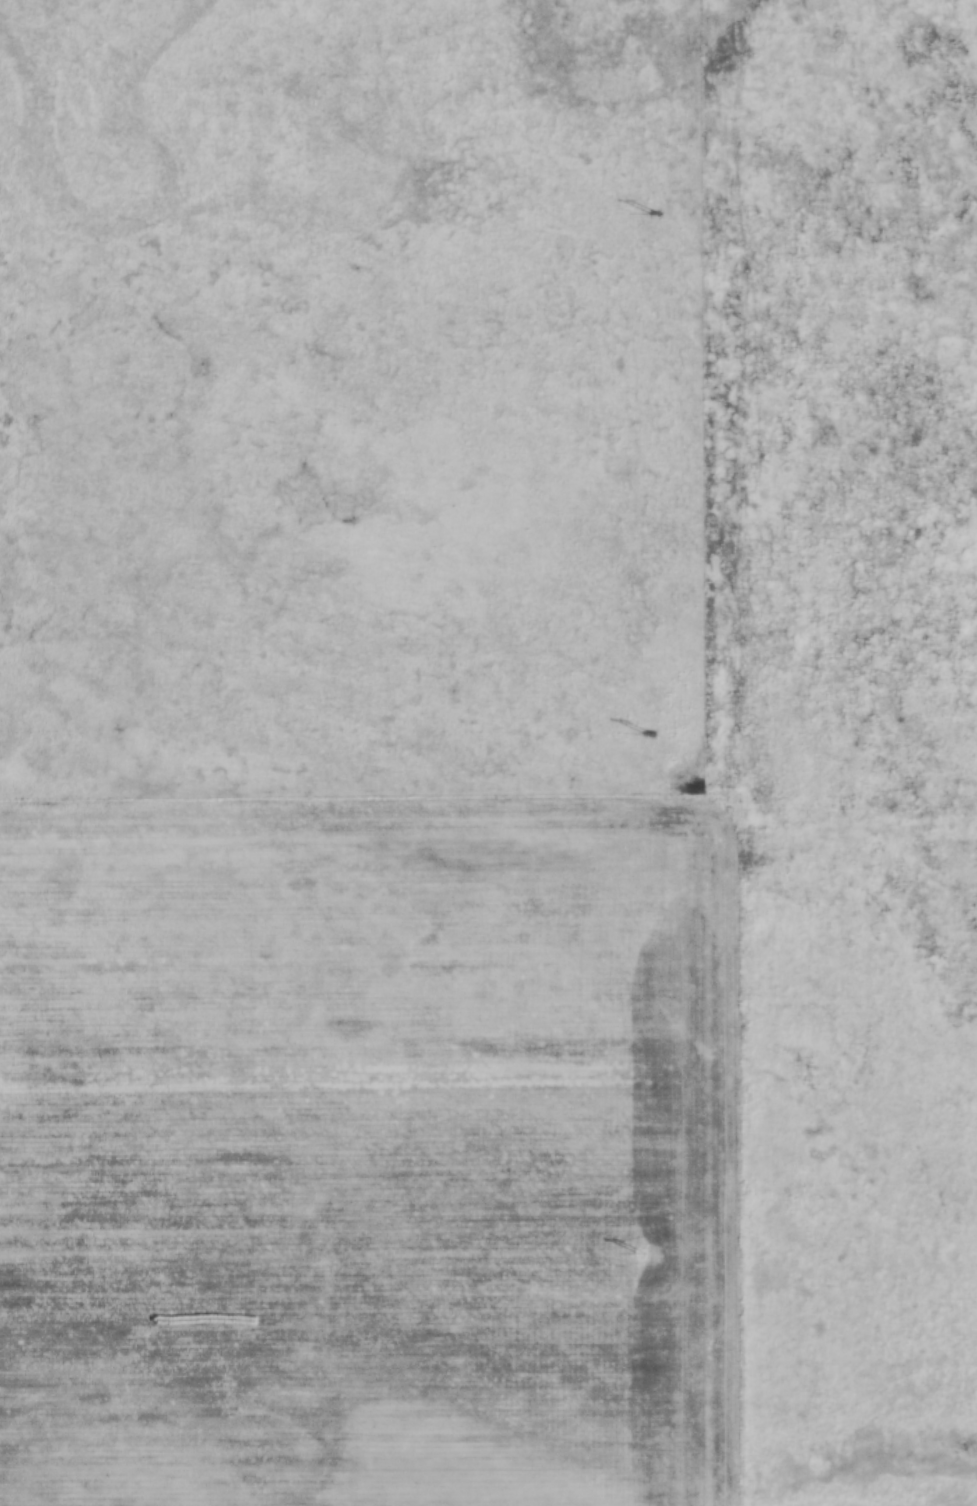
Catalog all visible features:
power tower: (654, 216)
power tower: (647, 735)
road: (688, 753)
power tower: (641, 1255)

